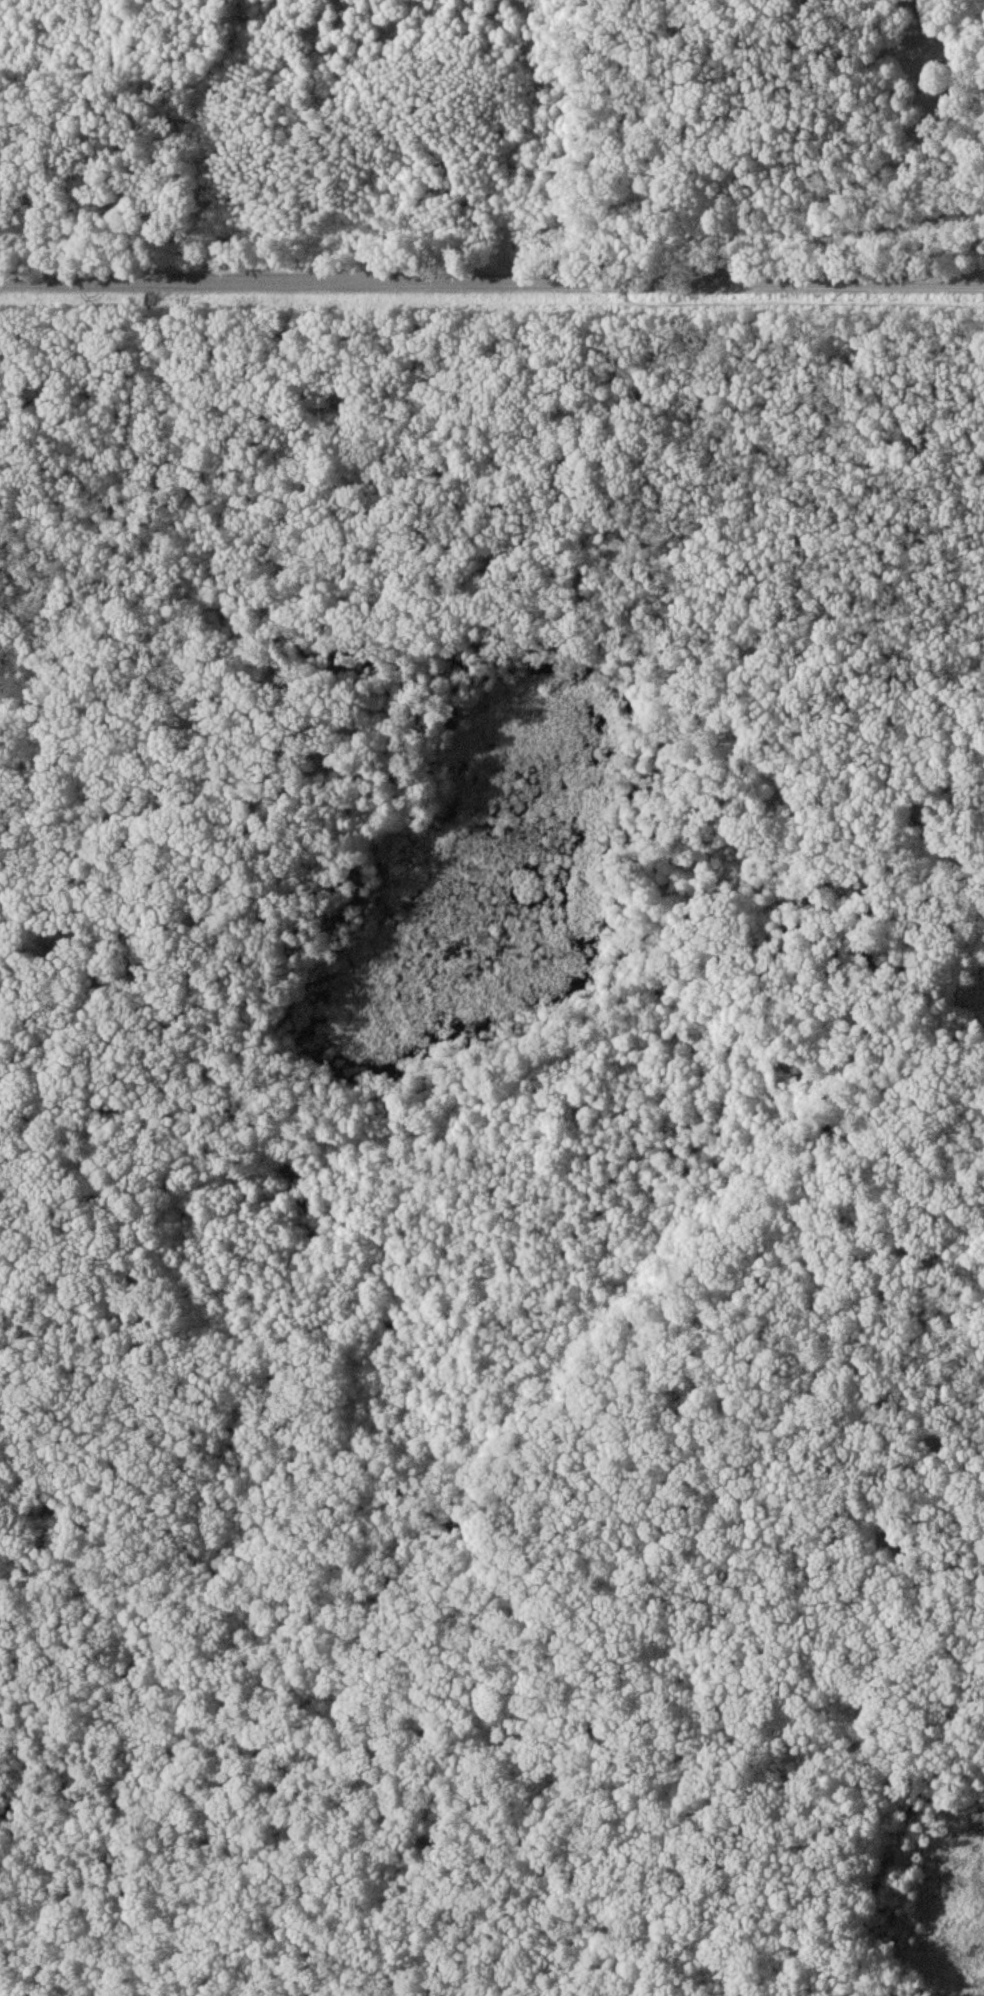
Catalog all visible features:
road: (492, 281)

